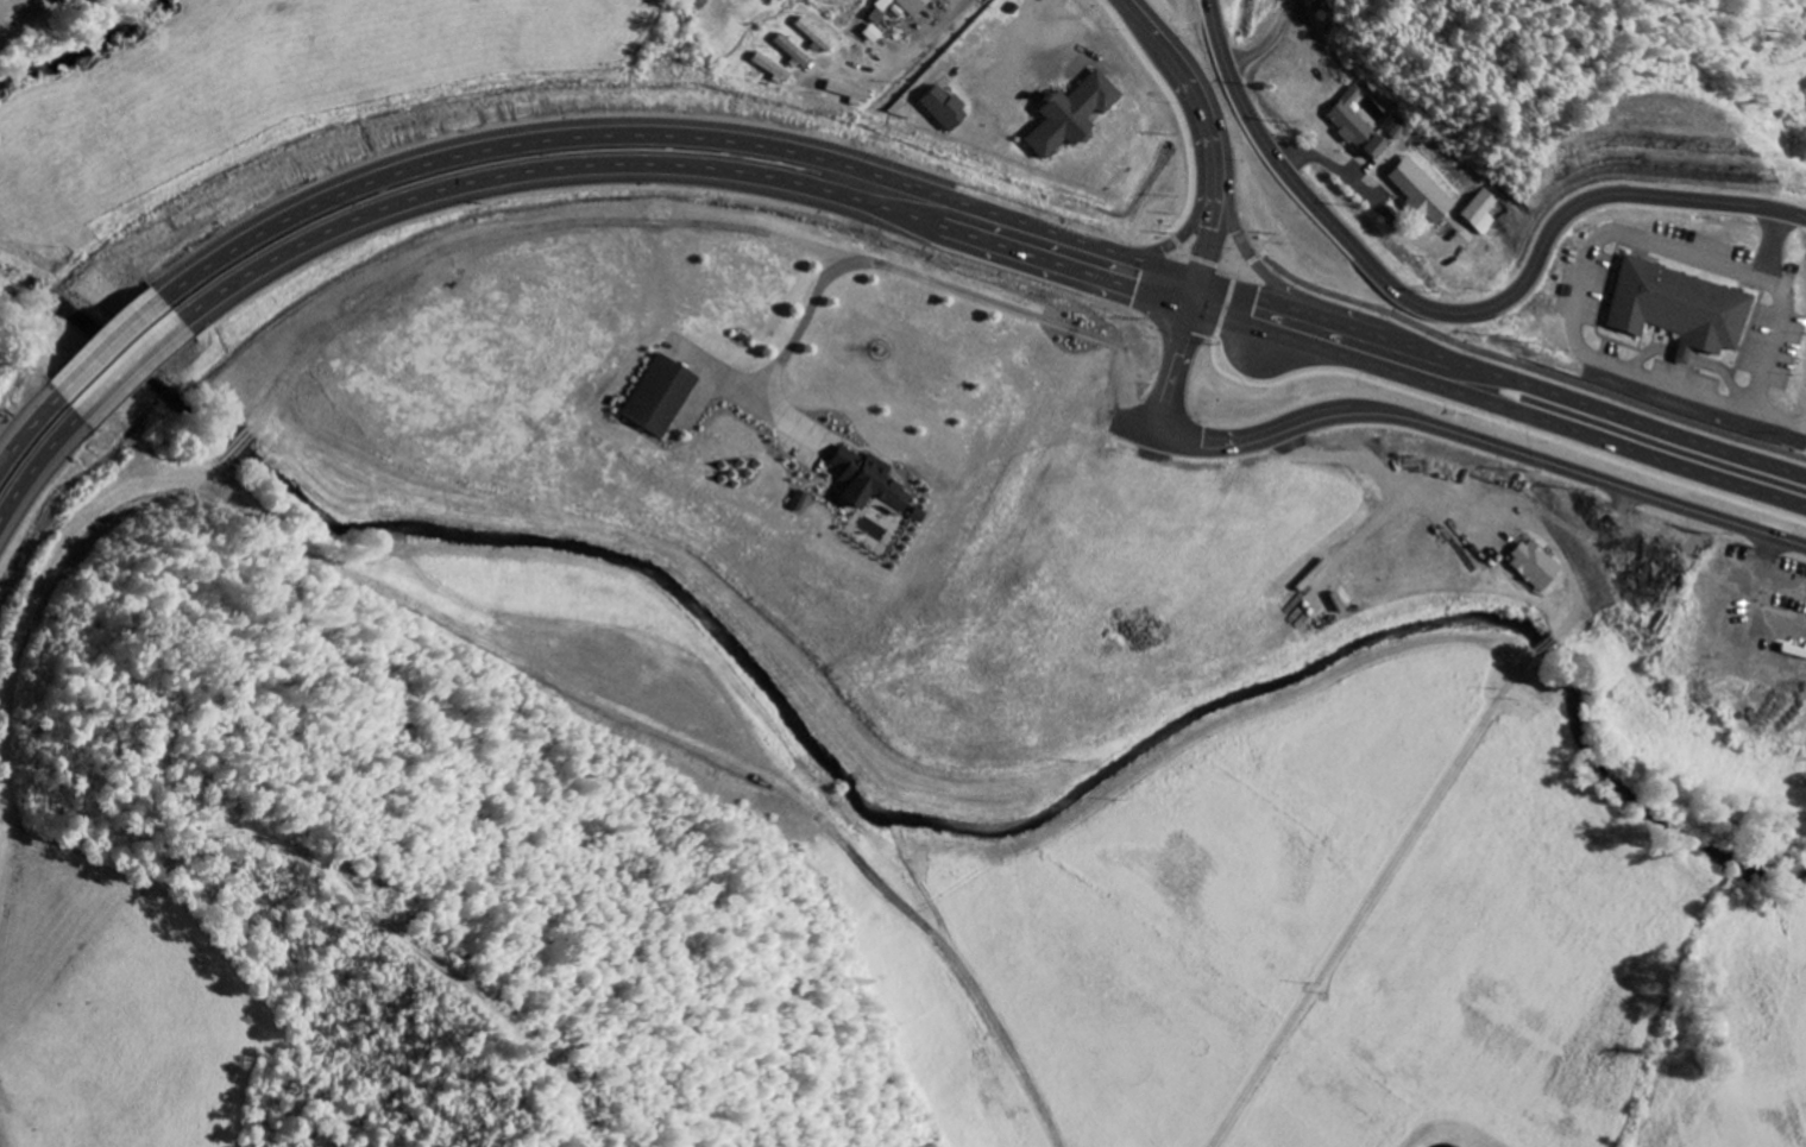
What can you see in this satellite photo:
building: (59, 1)
building: (699, 4)
road: (1292, 4)
building: (885, 5)
building: (914, 6)
building: (873, 34)
building: (814, 37)
river: (84, 46)
road: (1270, 48)
road: (917, 49)
building: (792, 52)
building: (774, 70)
building: (944, 109)
building: (1071, 115)
road: (1216, 121)
building: (1401, 130)
building: (1361, 131)
road: (673, 133)
road: (680, 169)
road: (1336, 171)
building: (1423, 191)
building: (1486, 213)
road: (1193, 226)
road: (1612, 239)
road: (1250, 248)
traffic signals: (1208, 272)
traffic signals: (1198, 303)
building: (1688, 309)
road: (1447, 314)
road: (109, 346)
road: (1506, 373)
road: (134, 376)
building: (659, 397)
road: (1502, 403)
road: (1402, 418)
road: (1780, 426)
road: (32, 435)
road: (43, 478)
building: (867, 481)
road: (1453, 499)
building: (798, 502)
building: (1534, 566)
road: (1554, 642)
river: (901, 794)
road: (799, 799)
road: (1374, 905)

